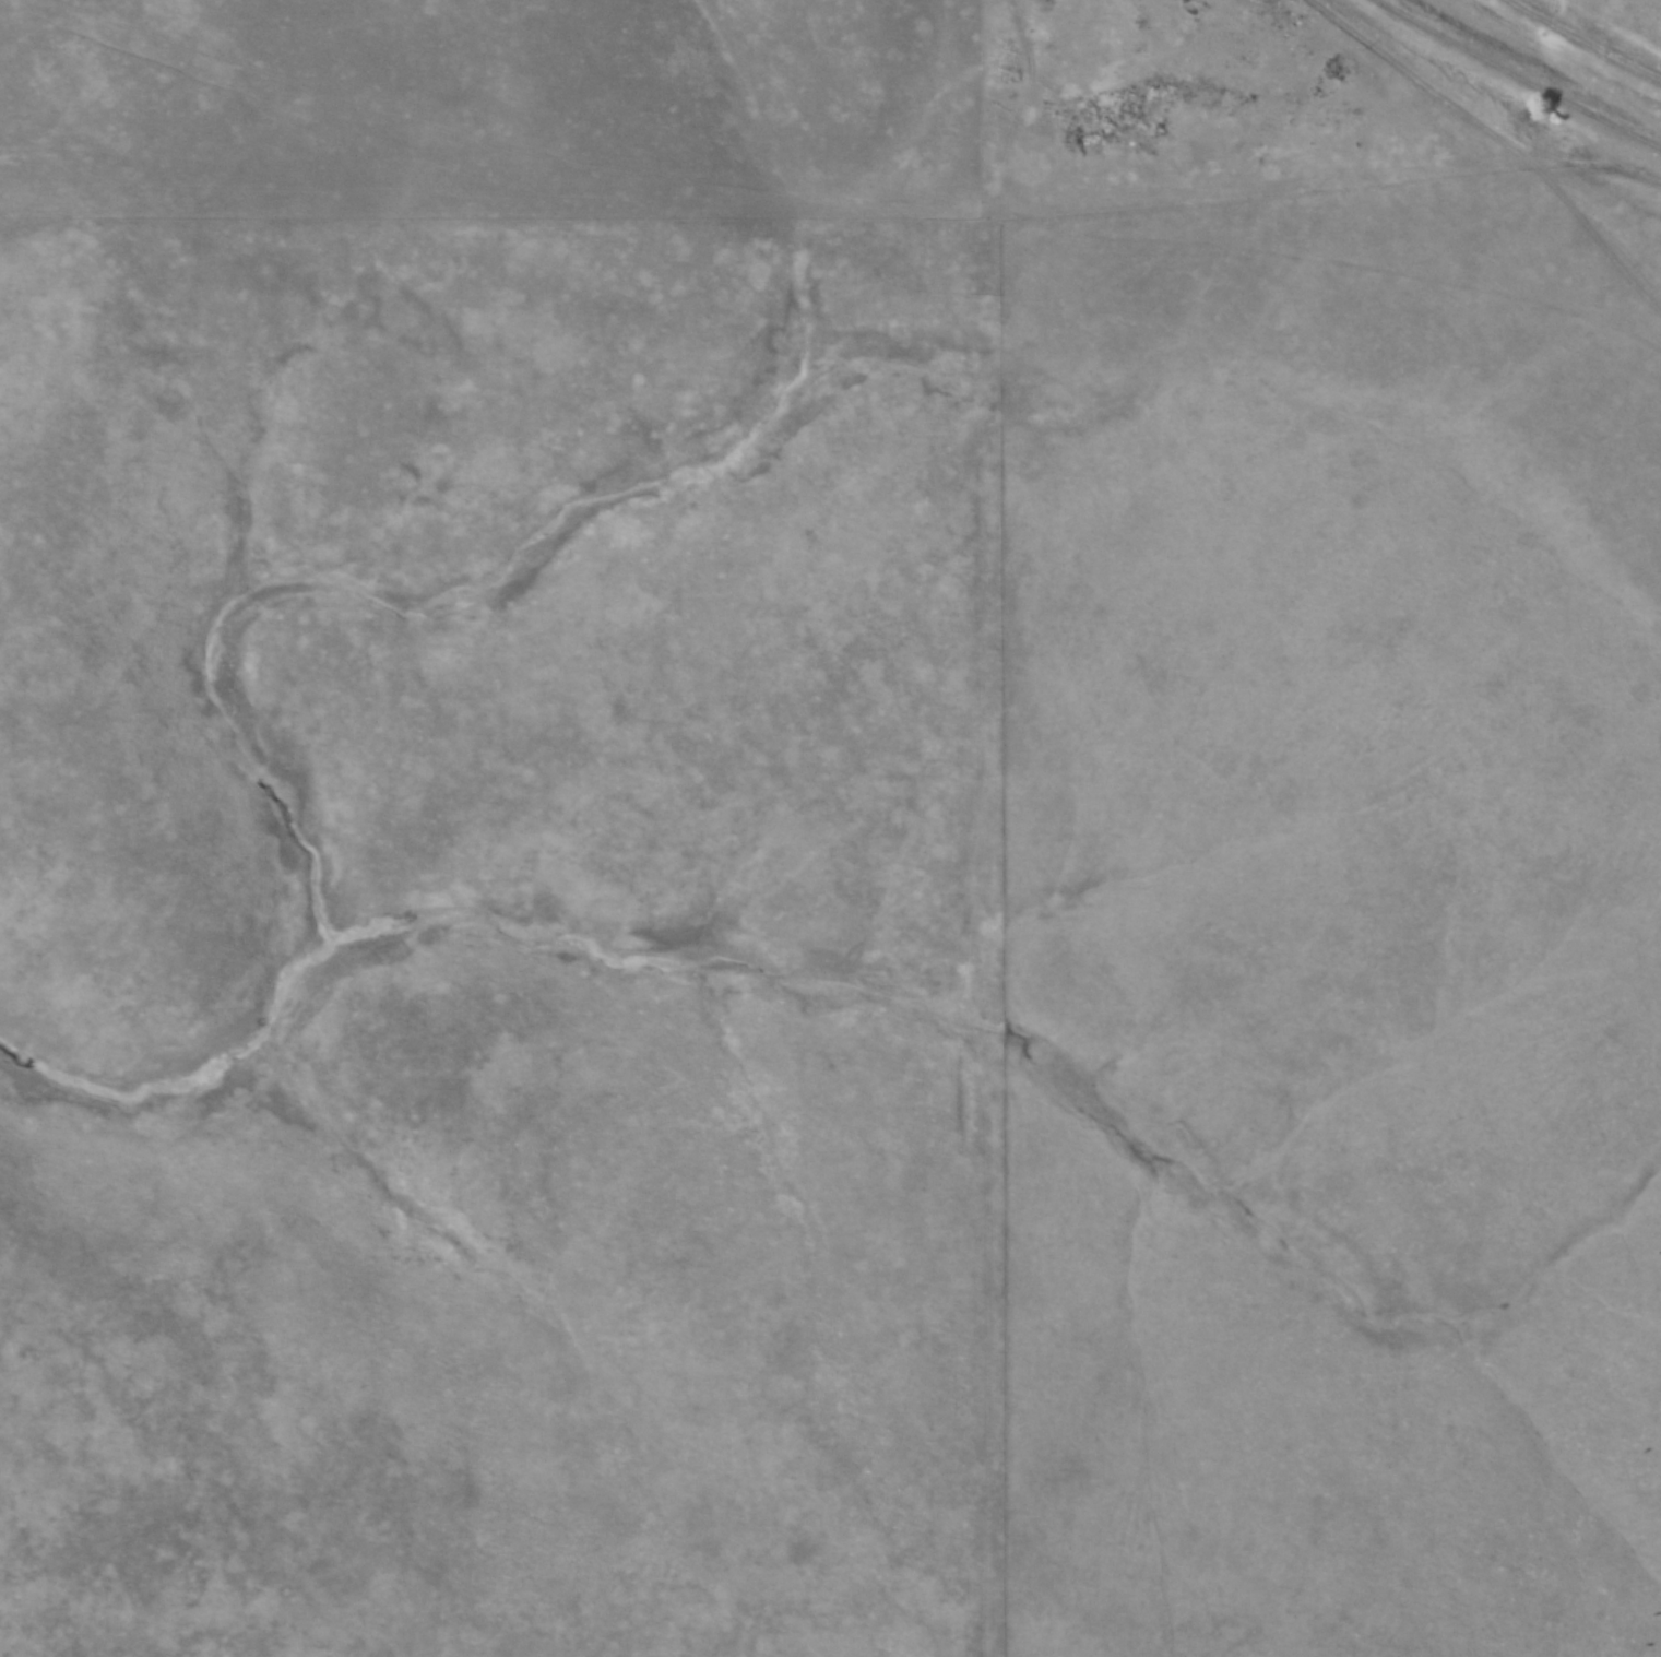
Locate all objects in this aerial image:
road: (1579, 44)
railway: (1508, 82)

